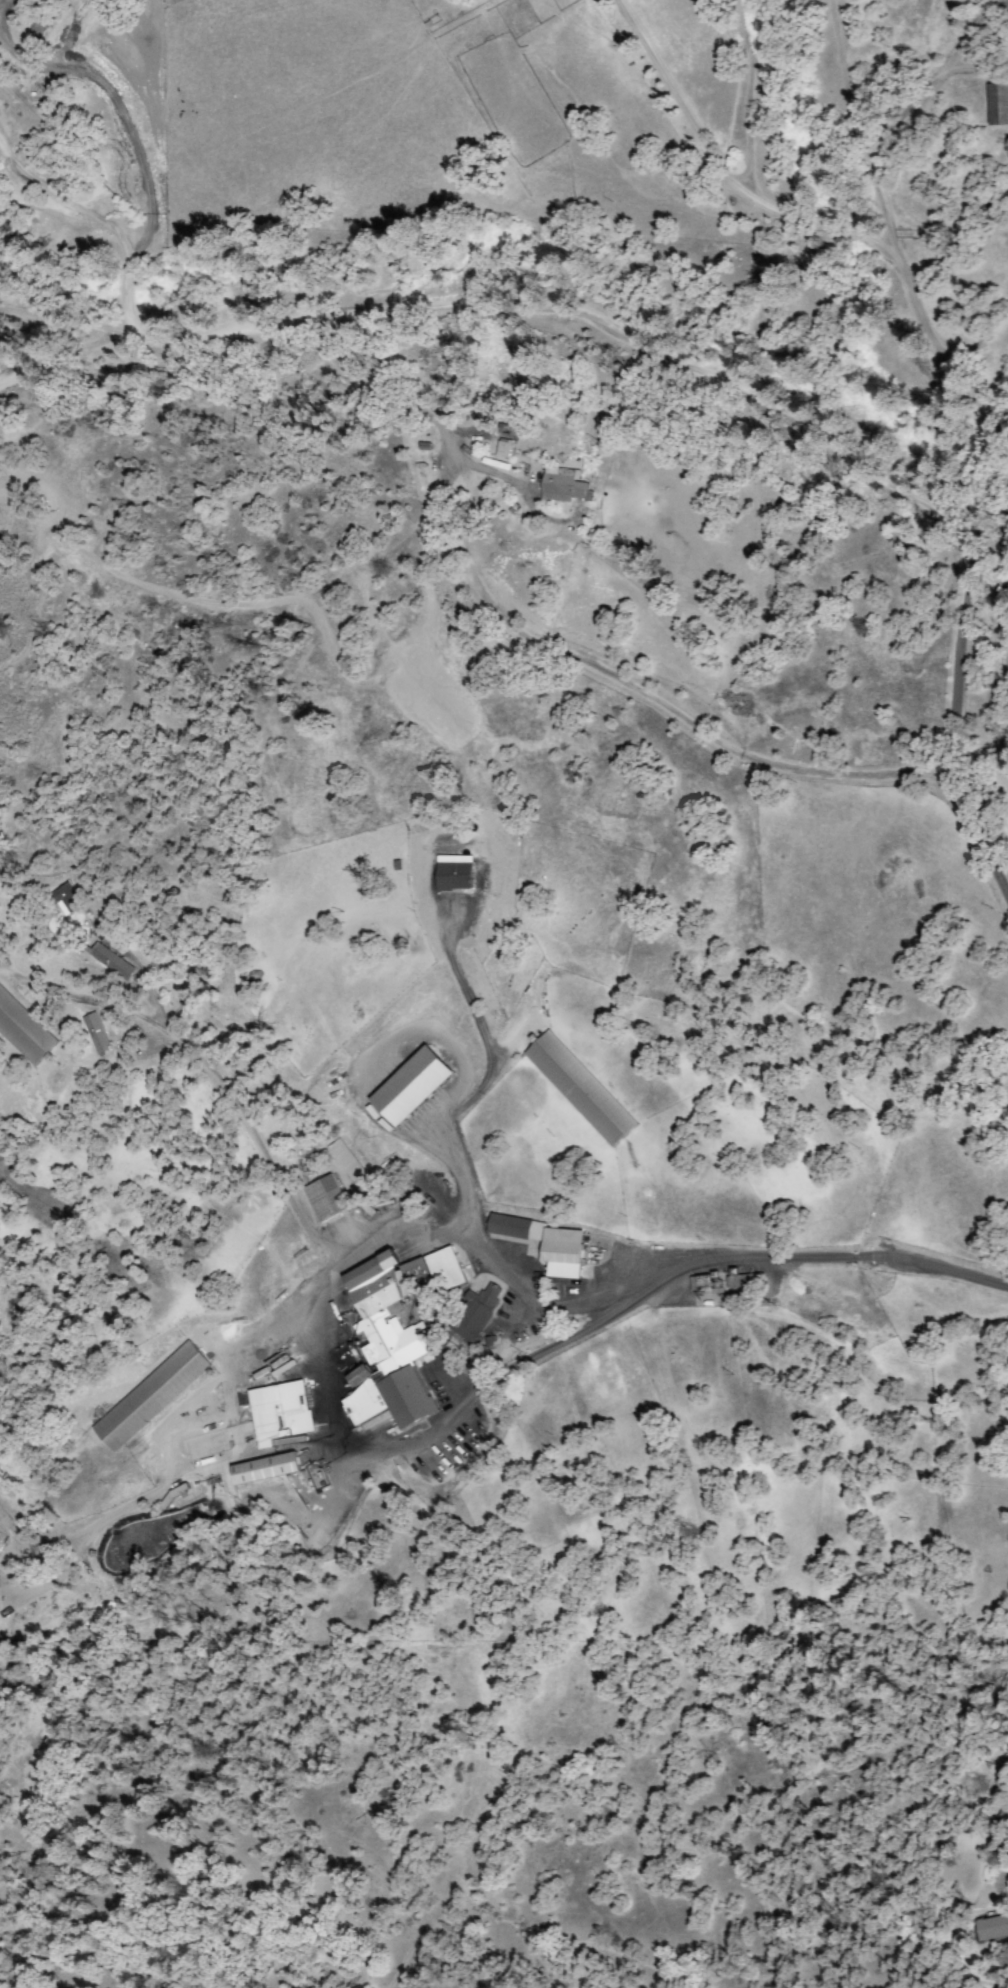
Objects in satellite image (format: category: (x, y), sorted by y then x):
building: (1000, 102)
road: (869, 155)
road: (976, 174)
road: (713, 378)
building: (501, 448)
road: (995, 482)
building: (565, 485)
road: (994, 511)
building: (456, 874)
building: (65, 898)
building: (104, 900)
building: (111, 962)
building: (24, 1029)
building: (97, 1033)
building: (414, 1087)
building: (582, 1089)
building: (348, 1164)
building: (327, 1199)
building: (519, 1229)
building: (564, 1248)
road: (857, 1256)
building: (448, 1265)
building: (745, 1281)
building: (708, 1285)
building: (476, 1314)
building: (390, 1342)
building: (152, 1396)
building: (283, 1412)
building: (377, 1422)
building: (269, 1469)
building: (177, 1495)
building: (1005, 1813)
building: (991, 1927)

